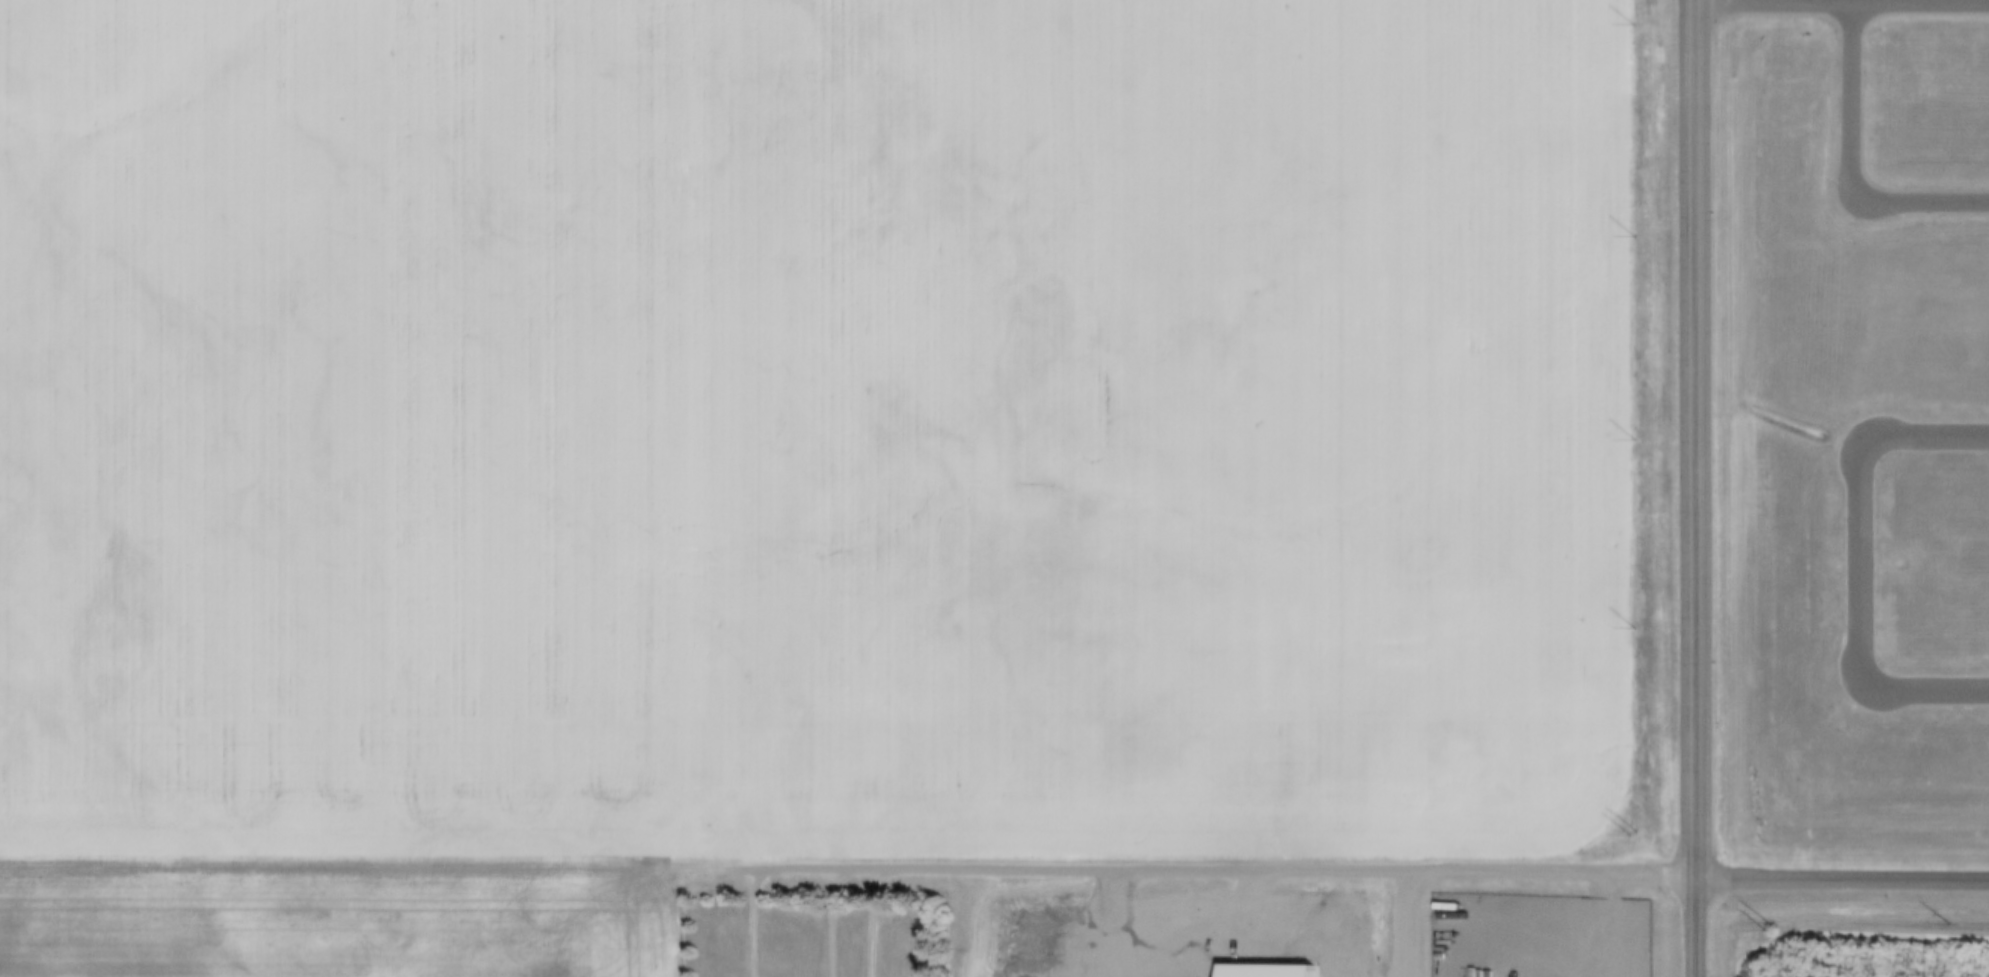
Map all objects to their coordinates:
road: (1841, 4)
road: (1845, 166)
road: (1695, 488)
road: (1852, 560)
road: (1079, 871)
road: (1552, 874)
road: (1842, 879)
building: (1264, 972)

